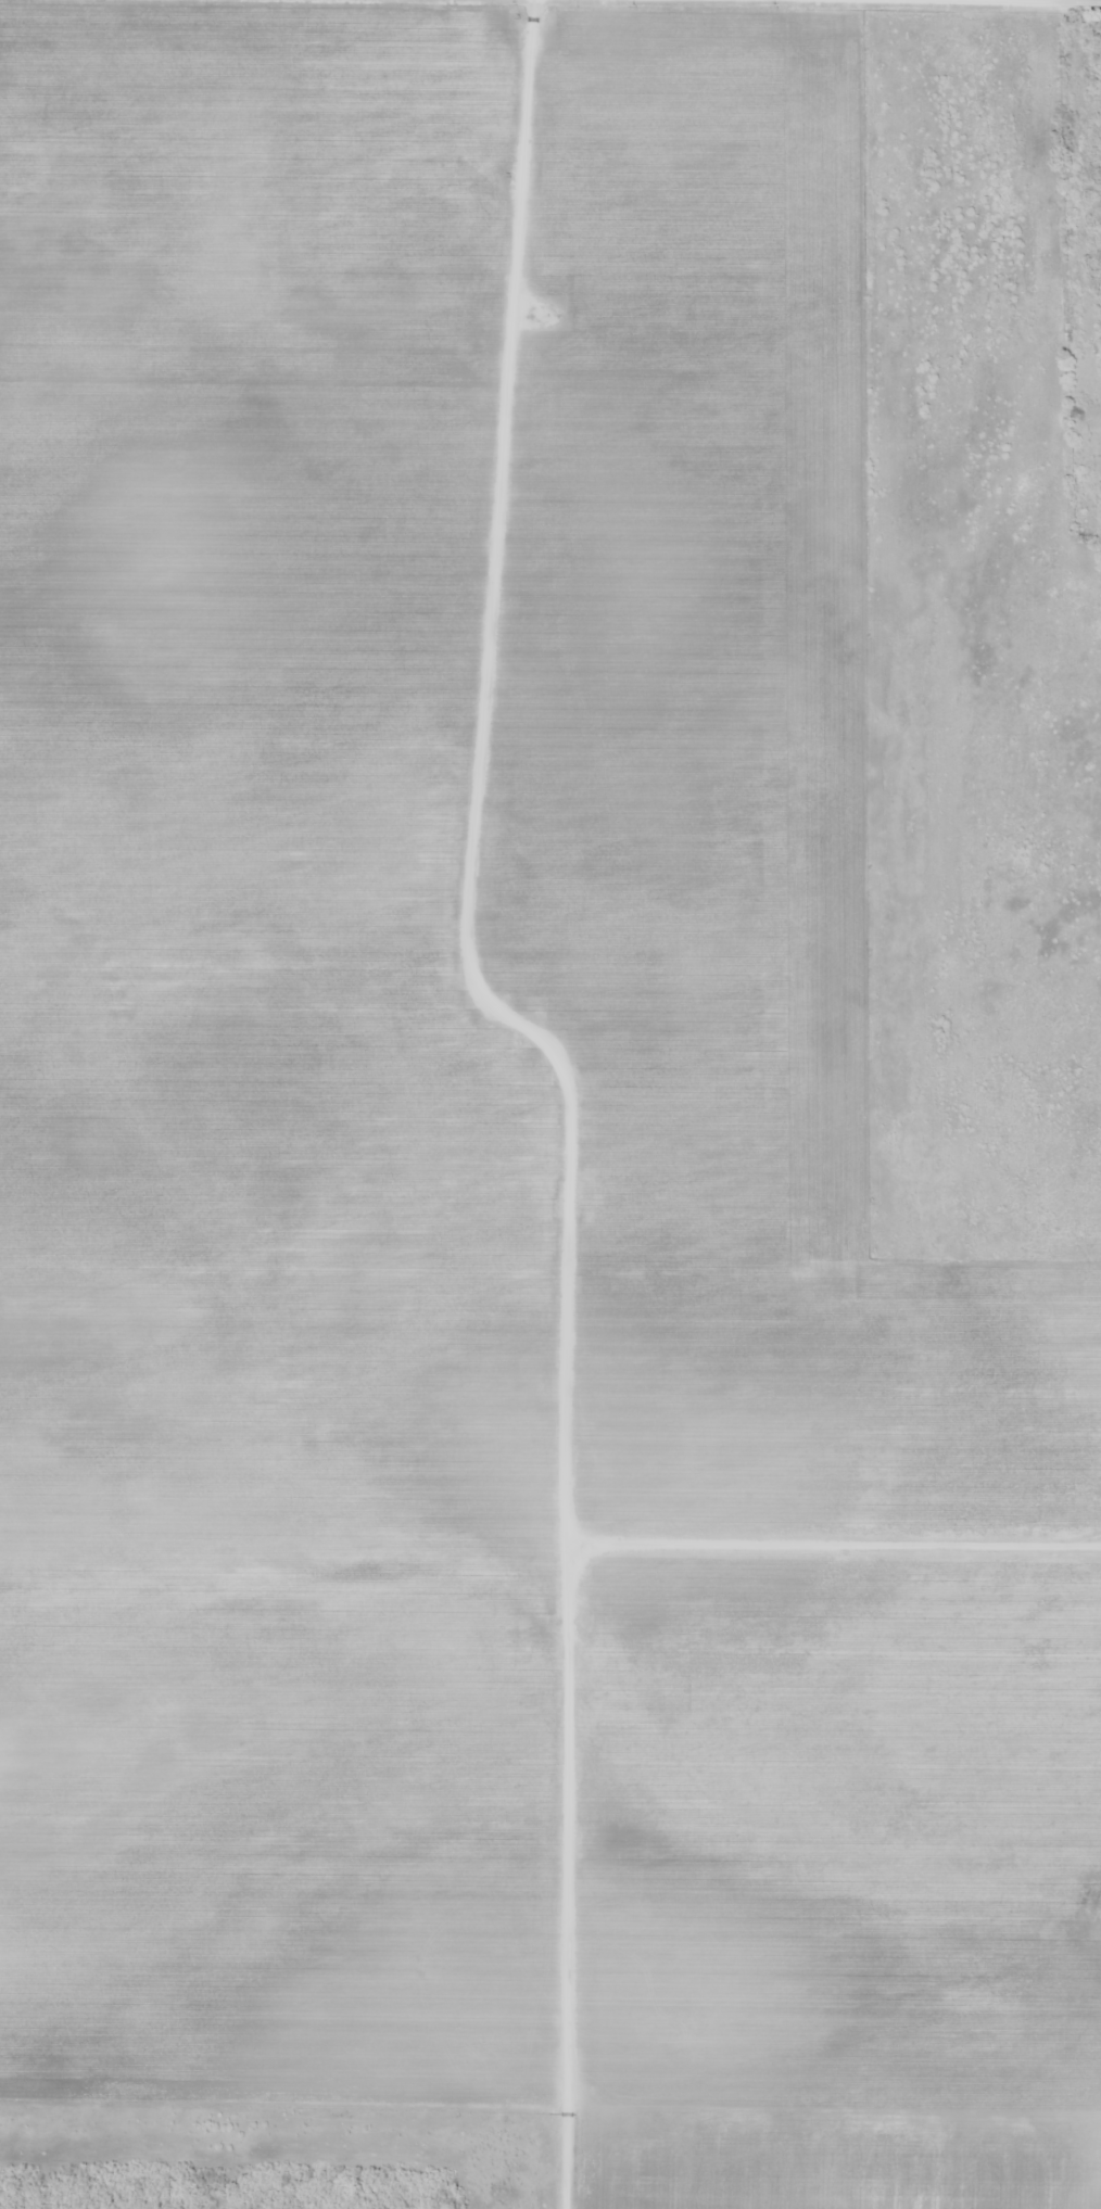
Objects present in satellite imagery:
road: (1021, 1)
road: (1087, 3)

